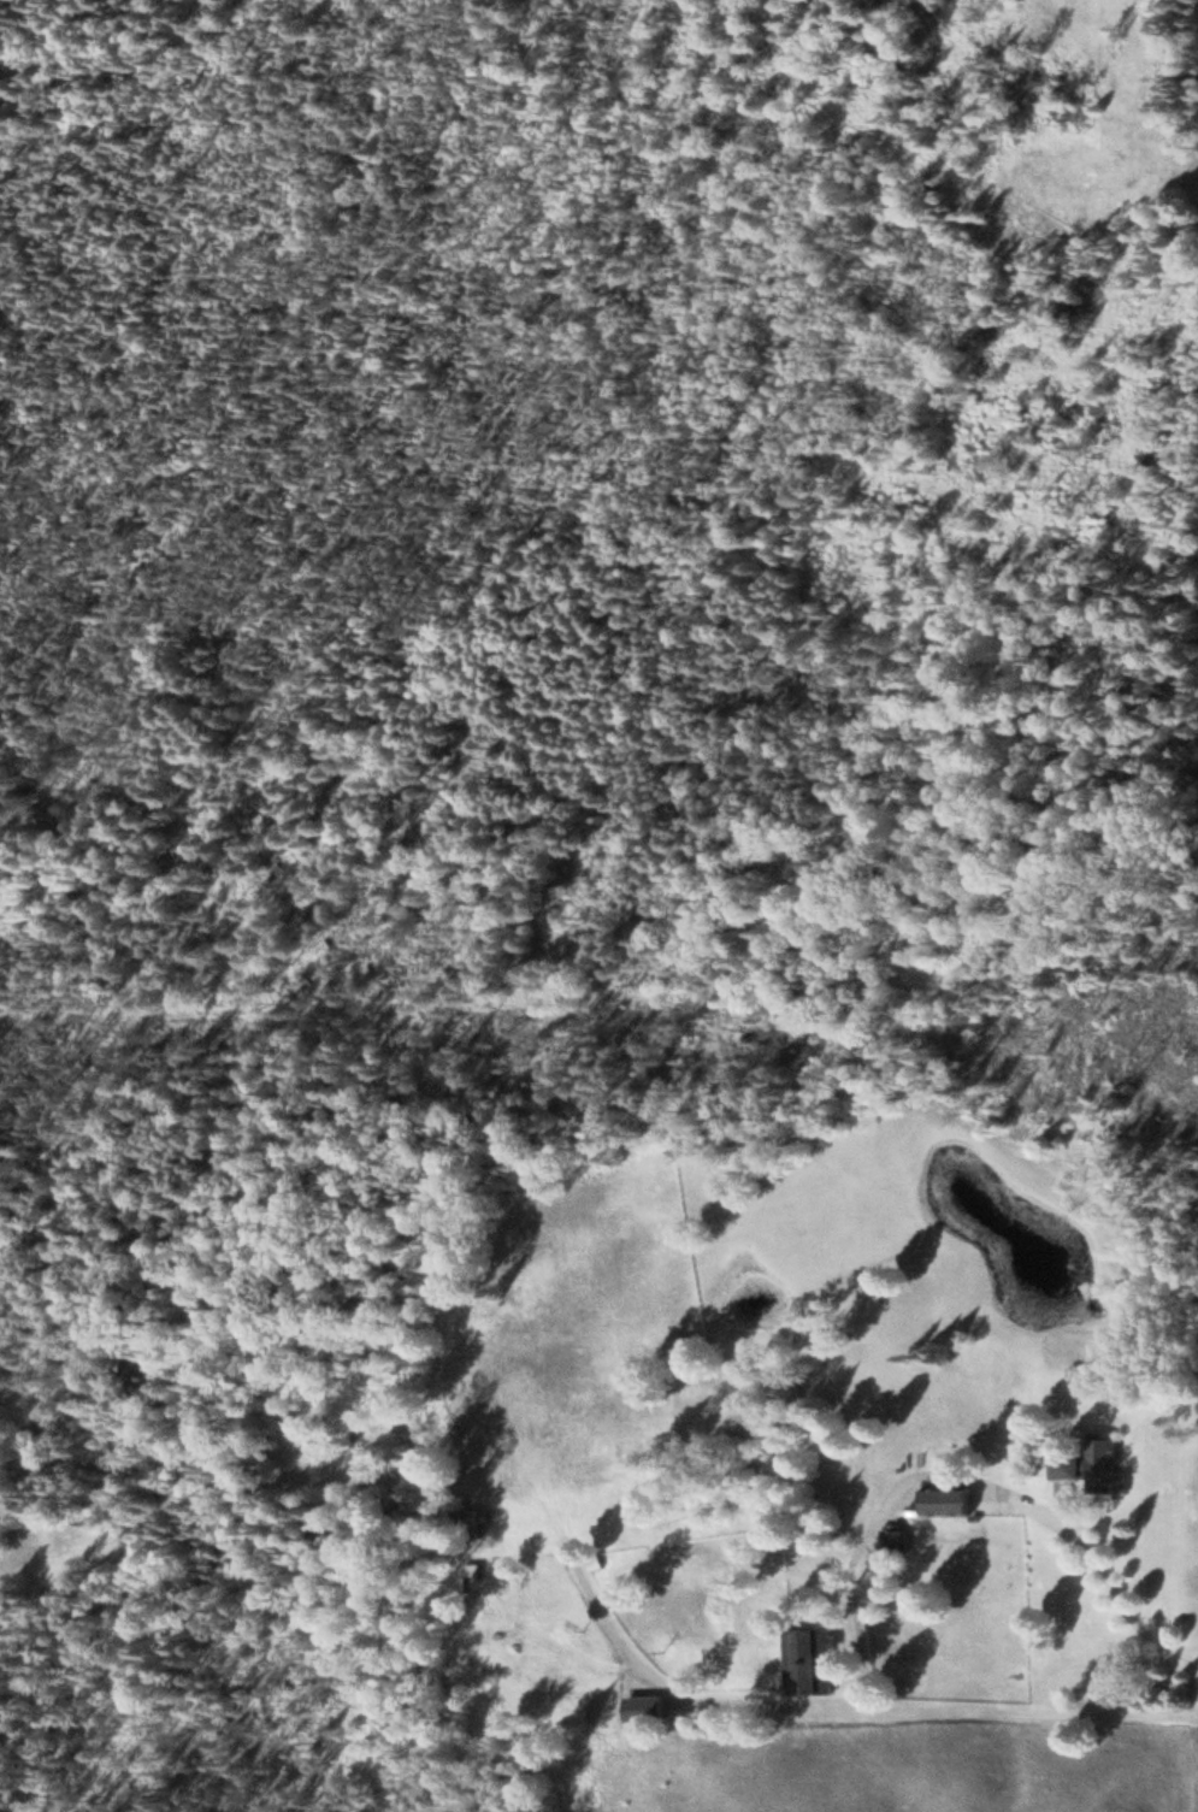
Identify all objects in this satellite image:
building: (1067, 1466)
building: (943, 1503)
building: (479, 1523)
building: (896, 1544)
building: (474, 1578)
building: (802, 1663)
building: (644, 1710)

